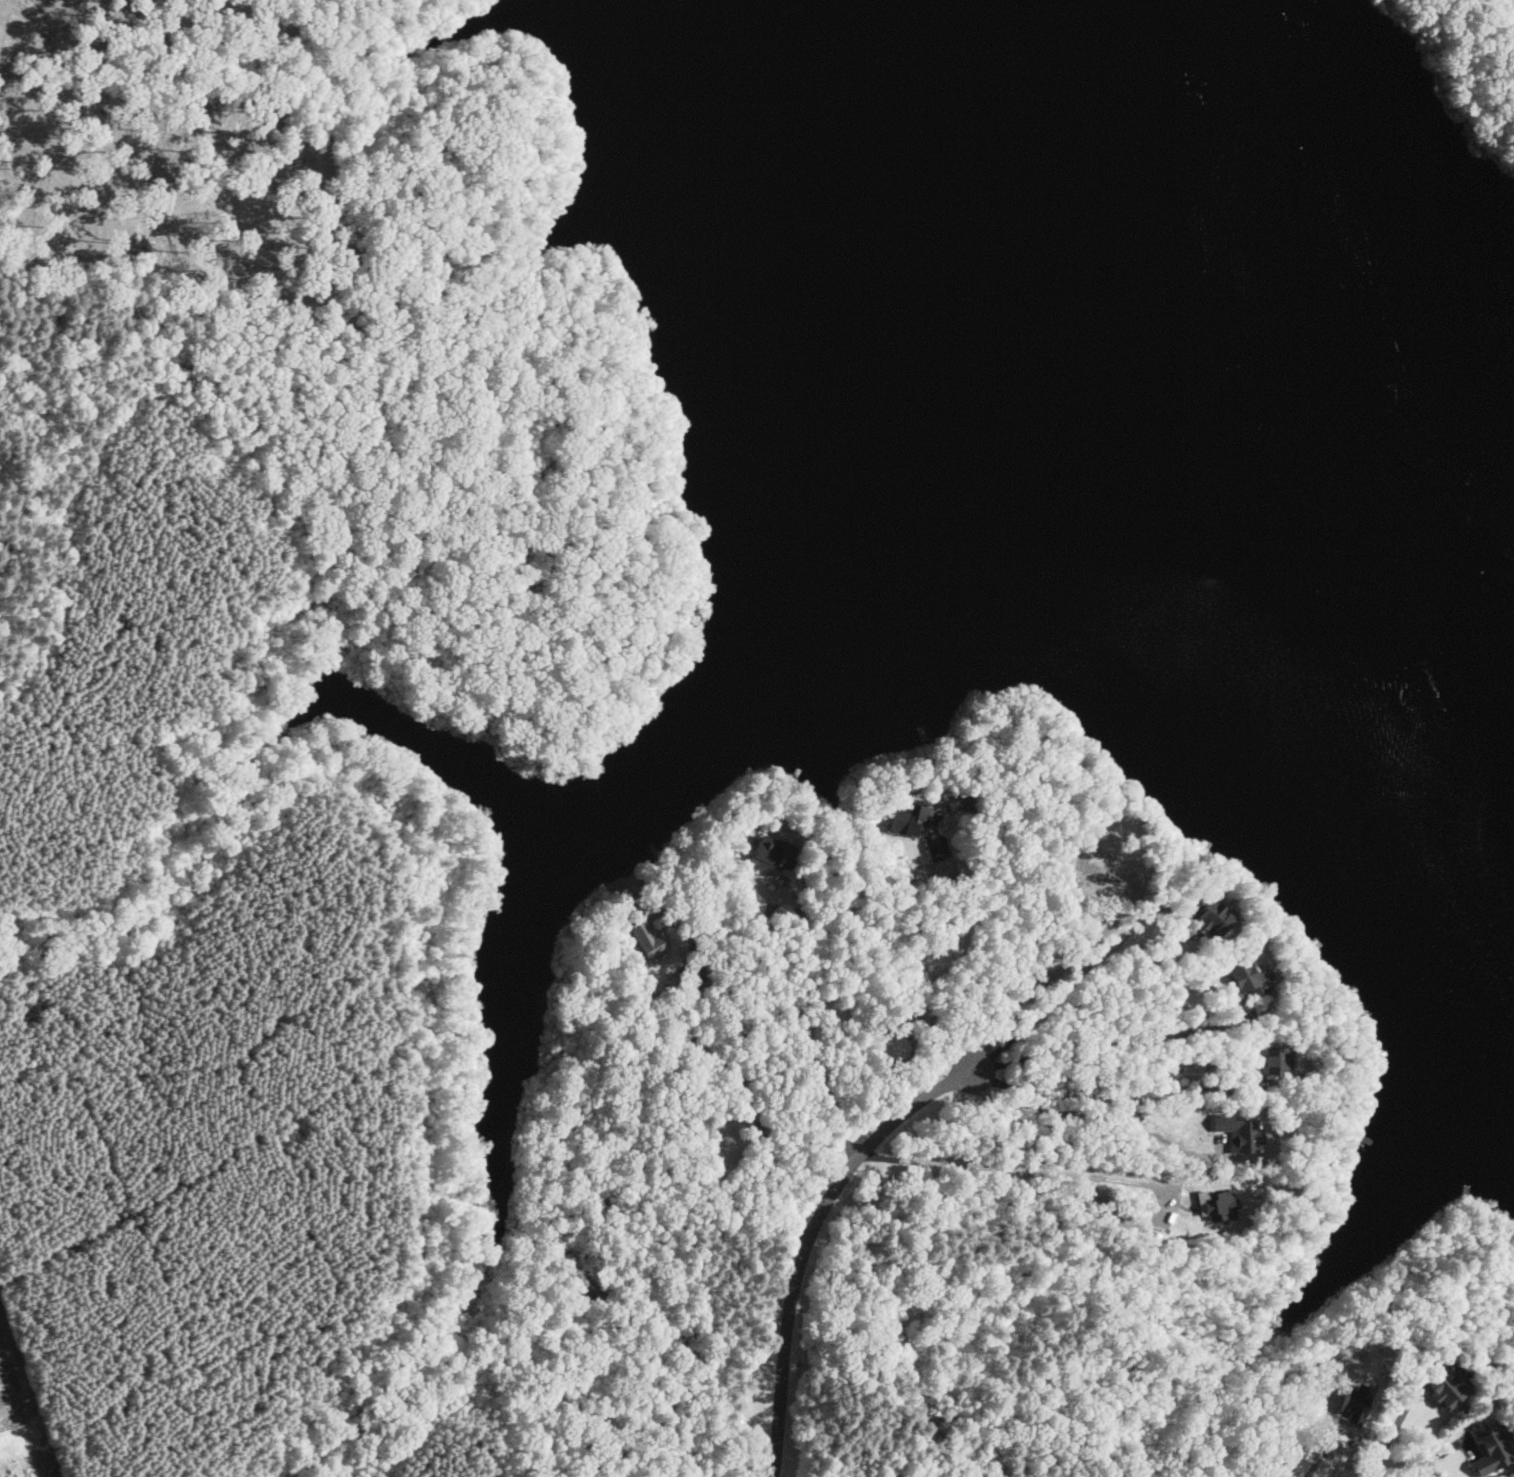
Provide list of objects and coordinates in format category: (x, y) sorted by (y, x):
building: (757, 851)
building: (1239, 979)
road: (807, 1239)
building: (1481, 1453)

